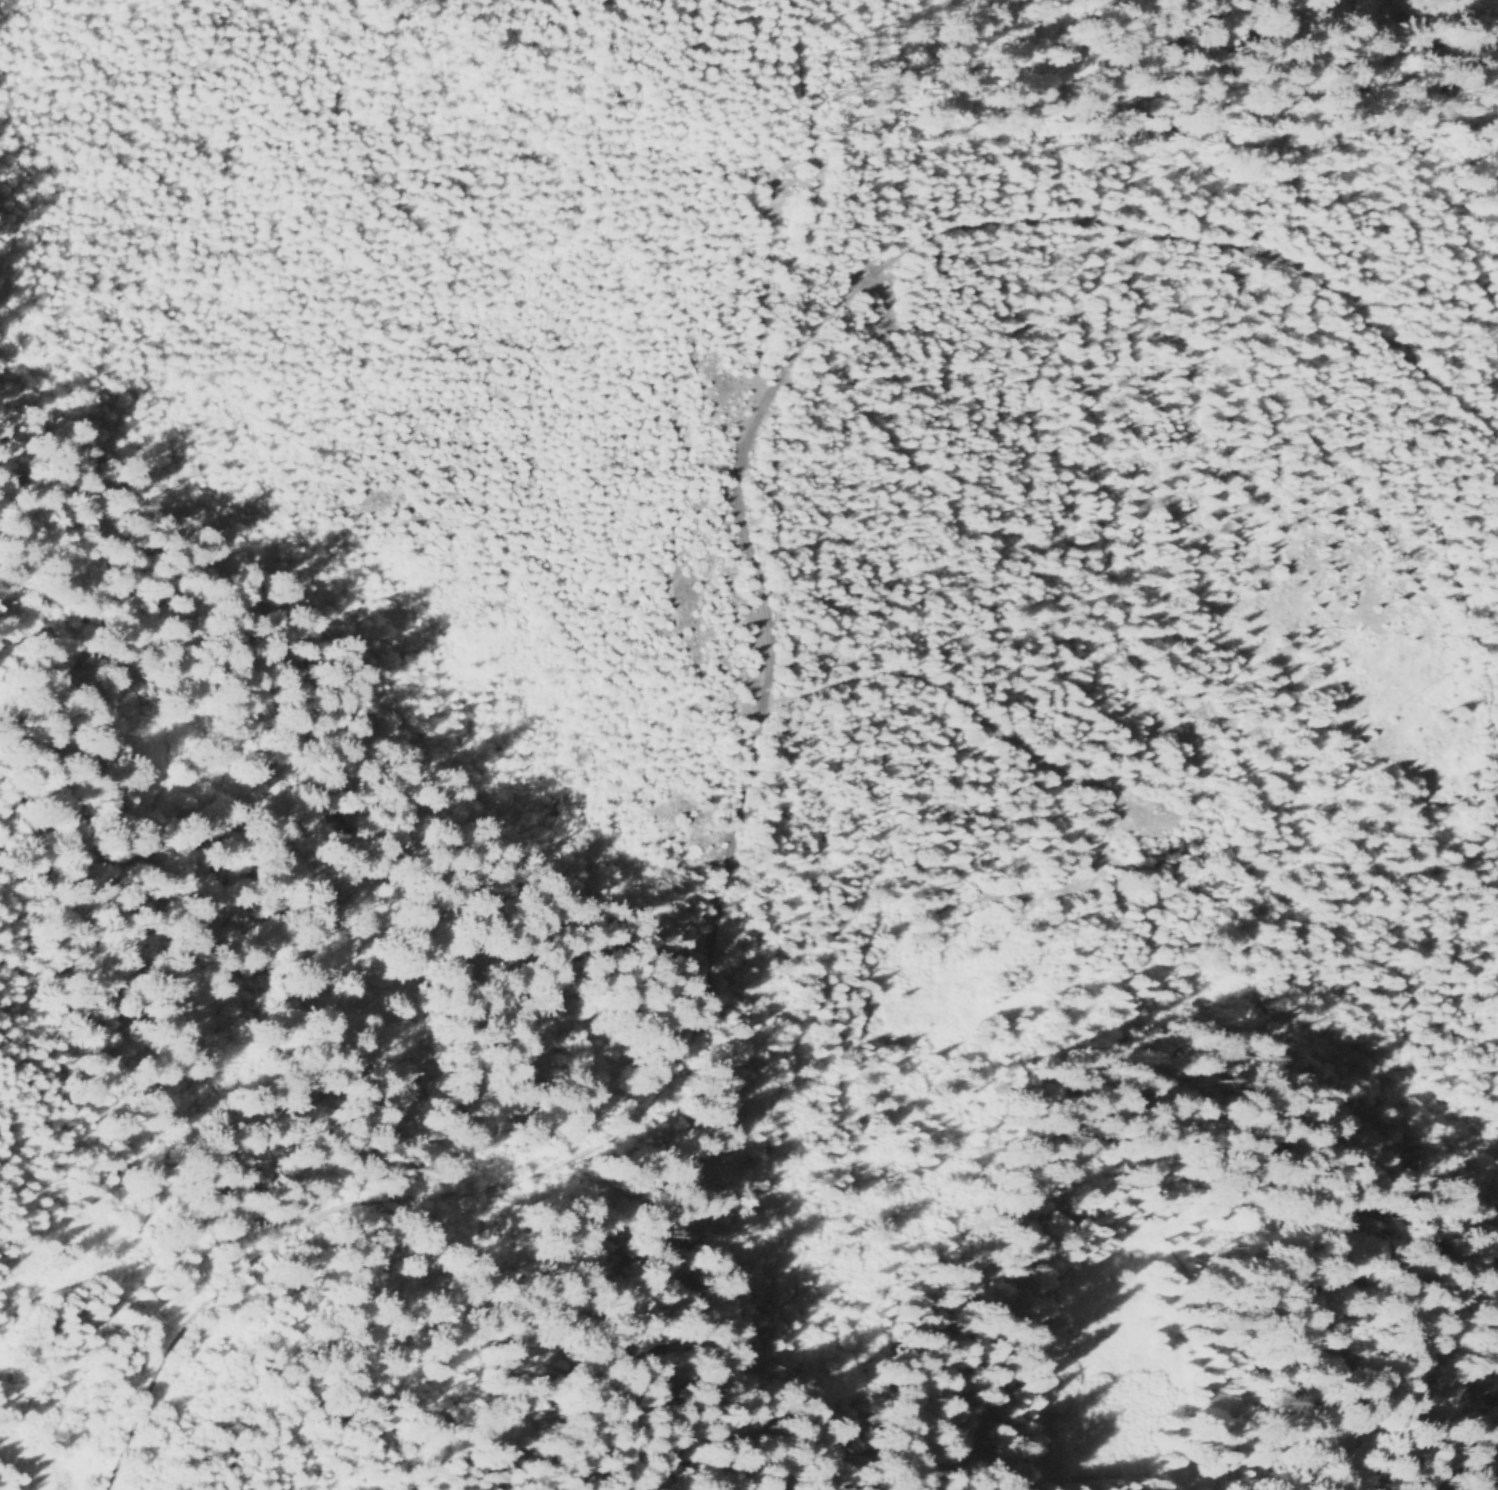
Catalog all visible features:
road: (758, 685)
road: (952, 709)
road: (1380, 930)

